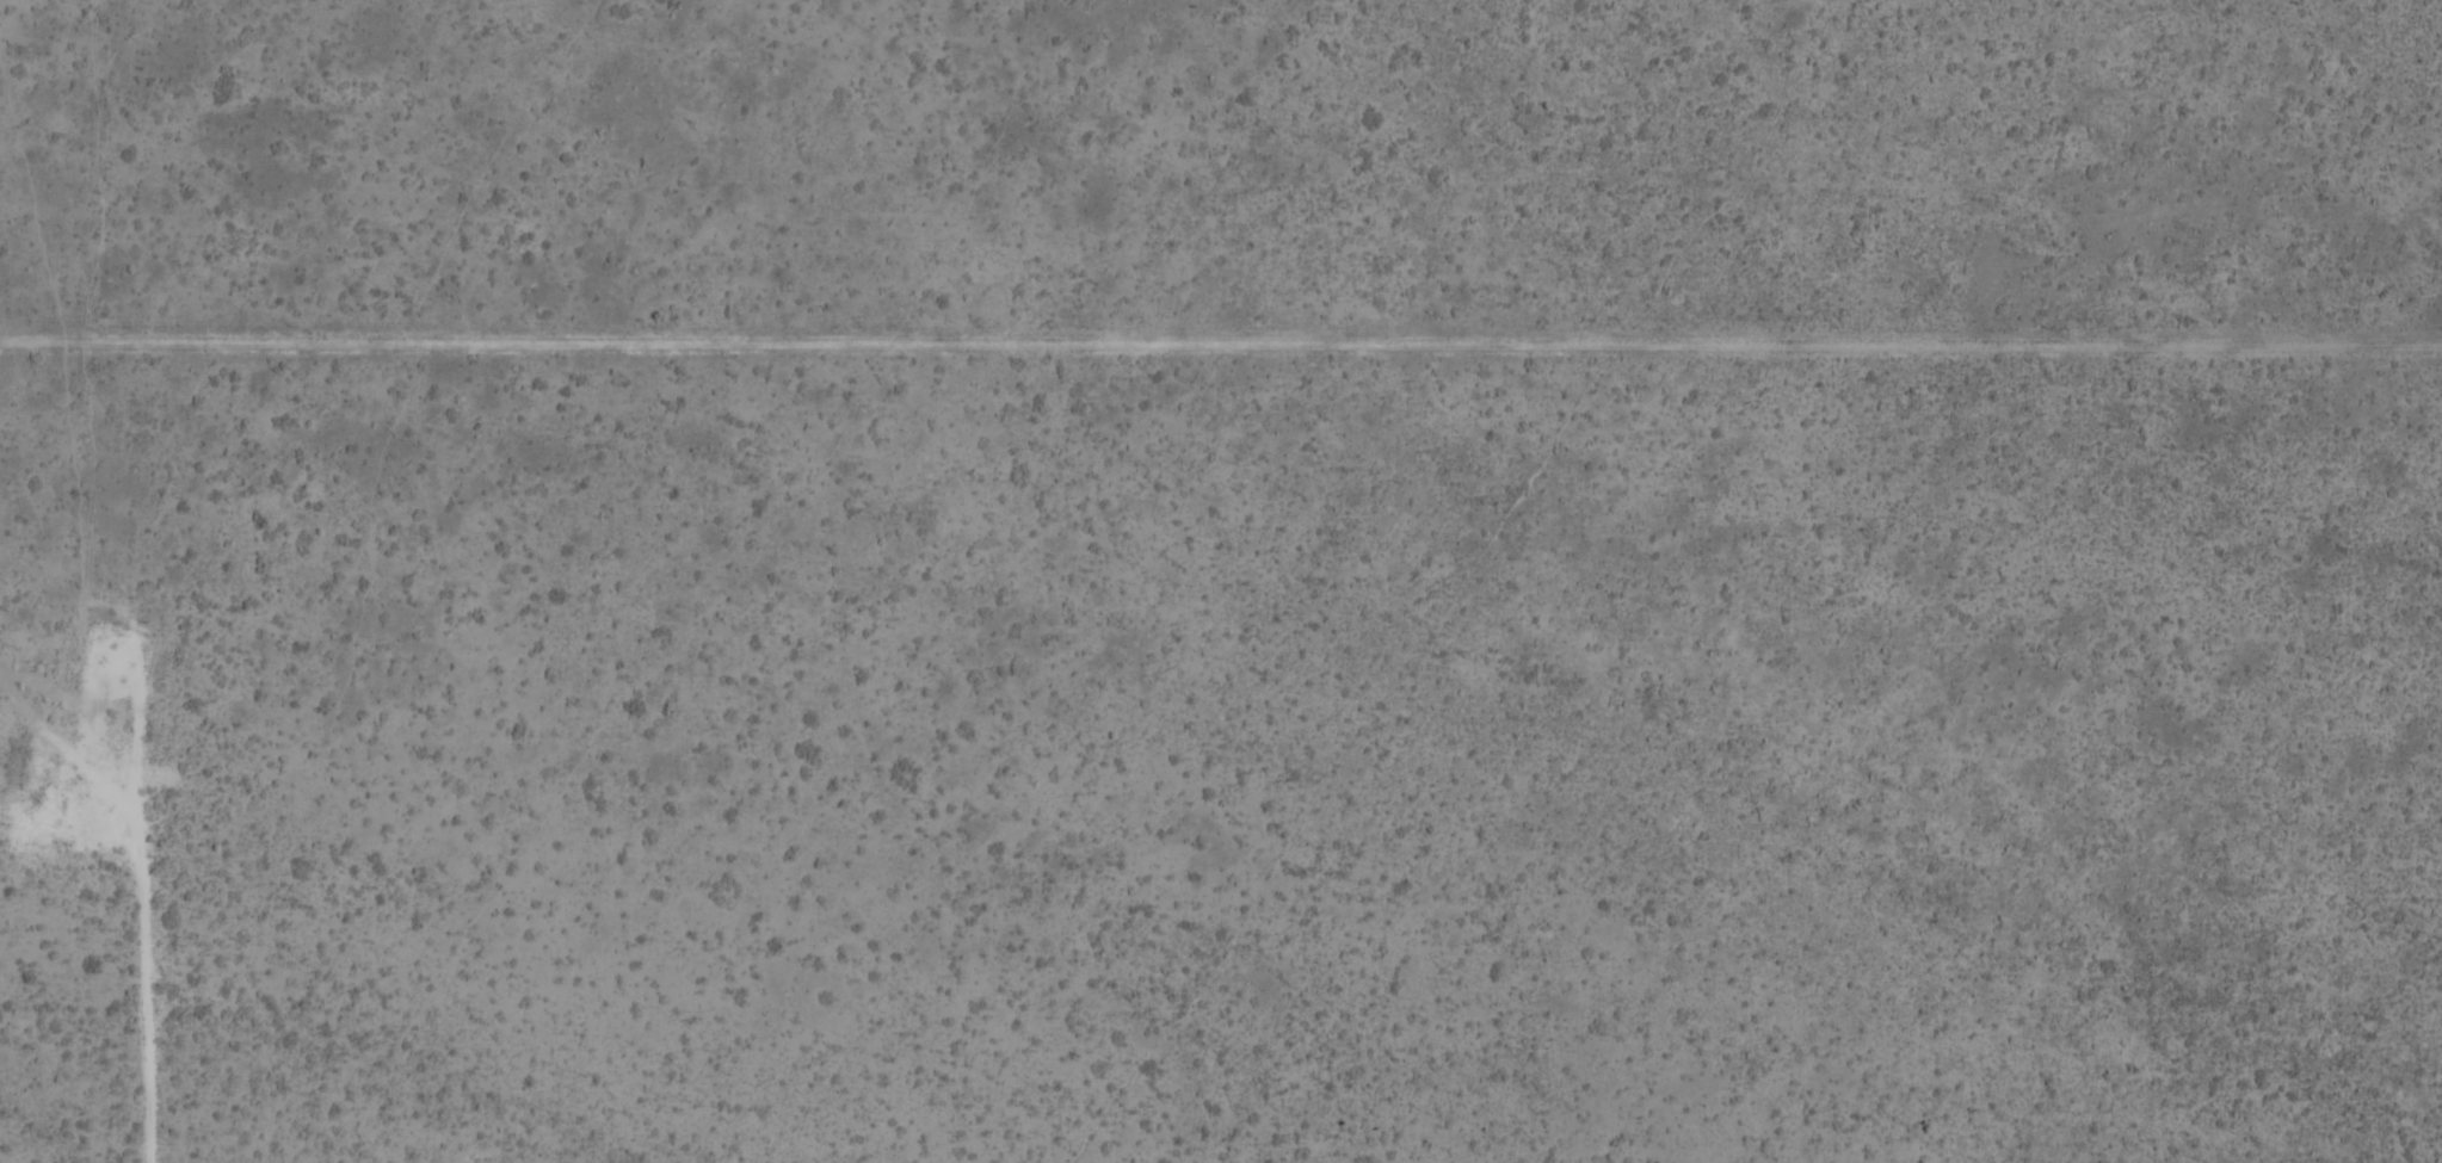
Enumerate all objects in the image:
road: (153, 1033)

